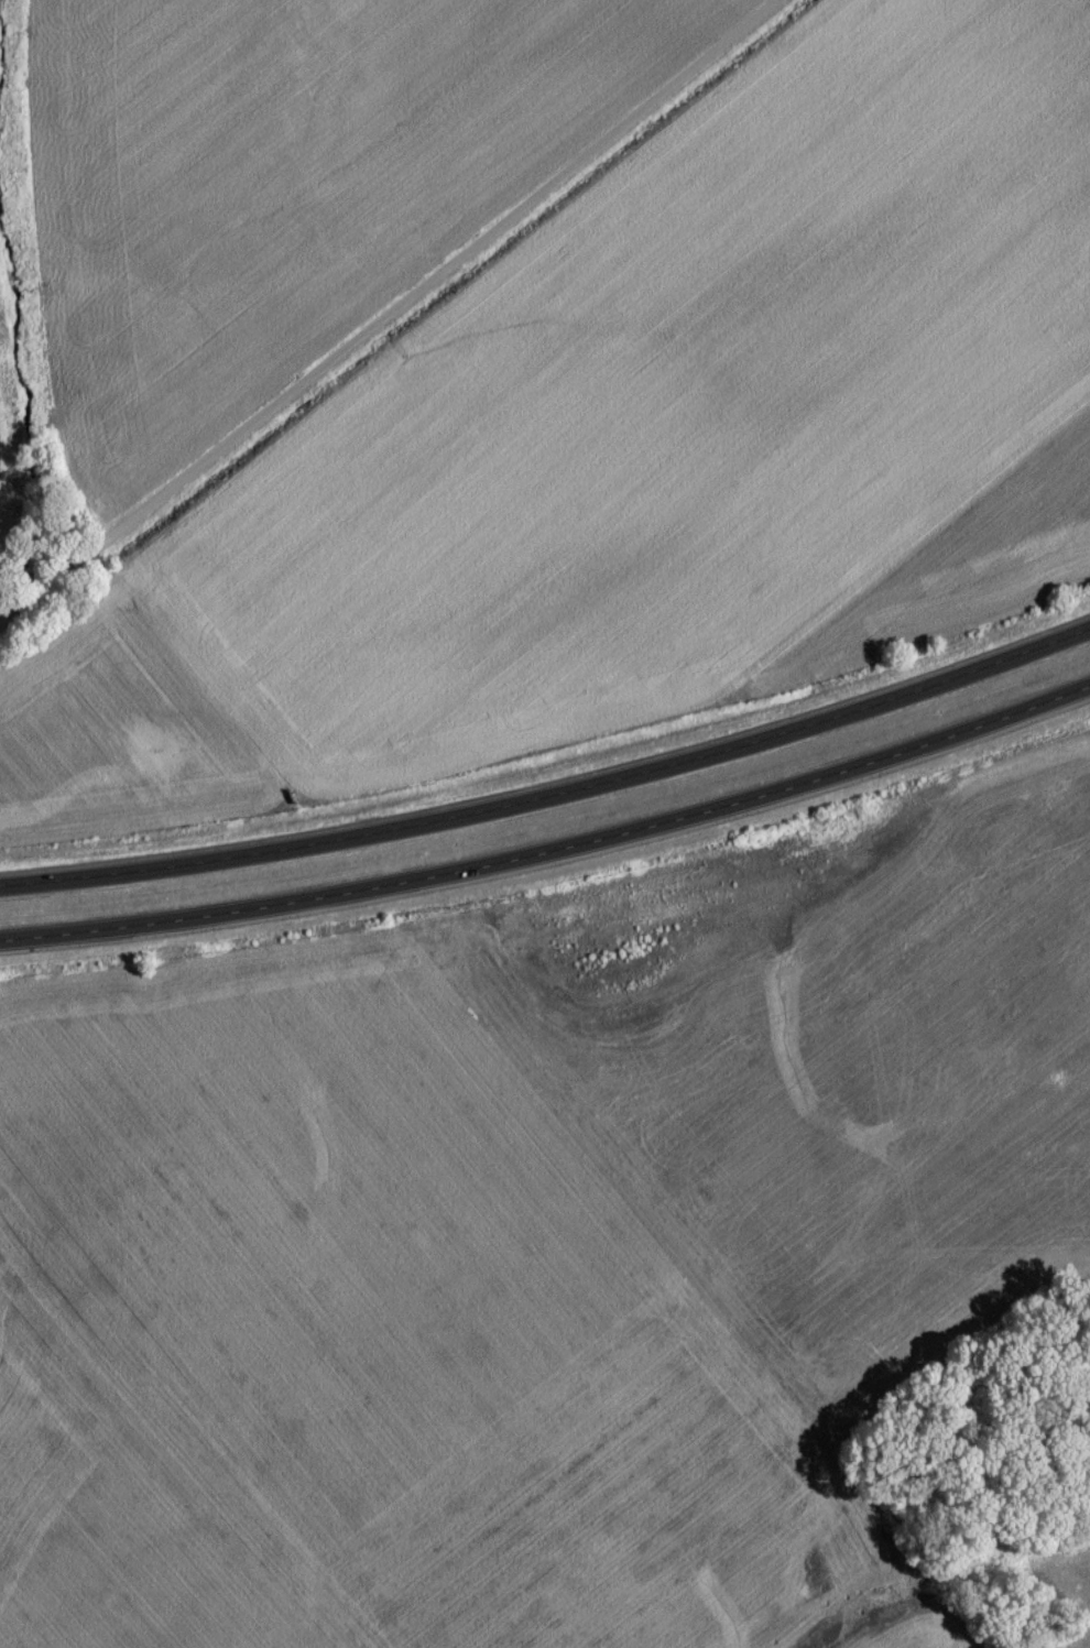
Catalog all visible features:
road: (400, 318)
road: (552, 782)
road: (554, 847)

